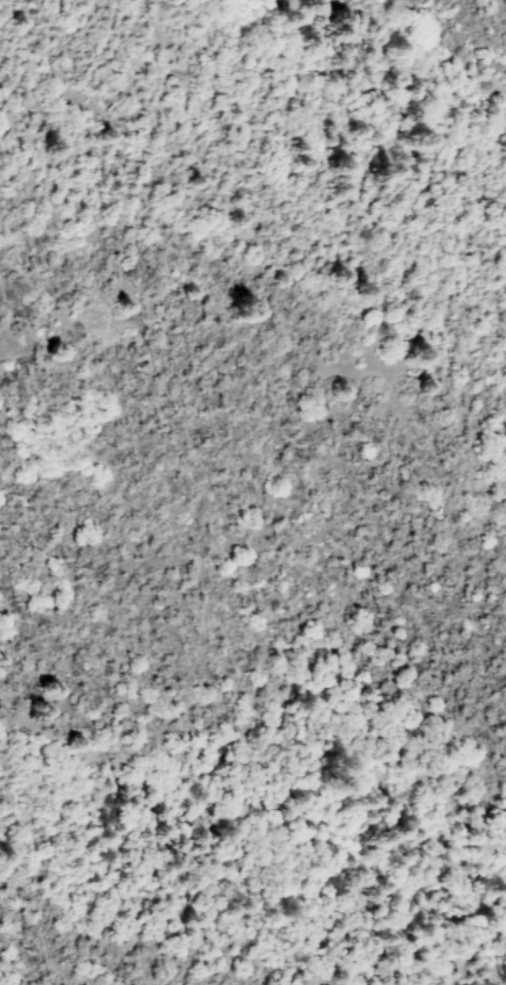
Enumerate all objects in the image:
road: (360, 841)

